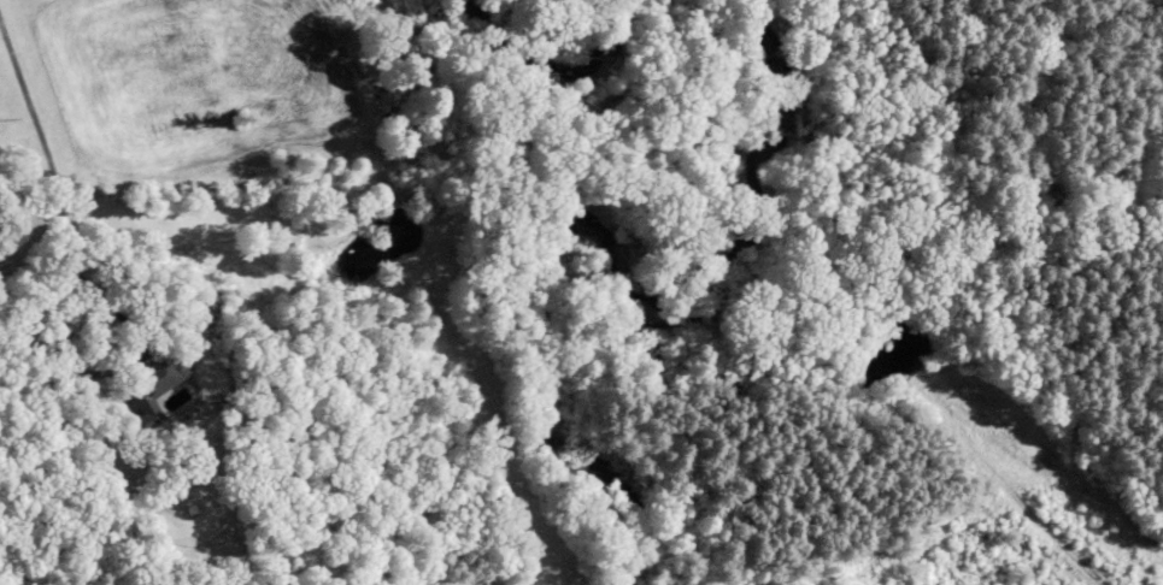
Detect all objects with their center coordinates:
road: (46, 195)
building: (159, 384)

